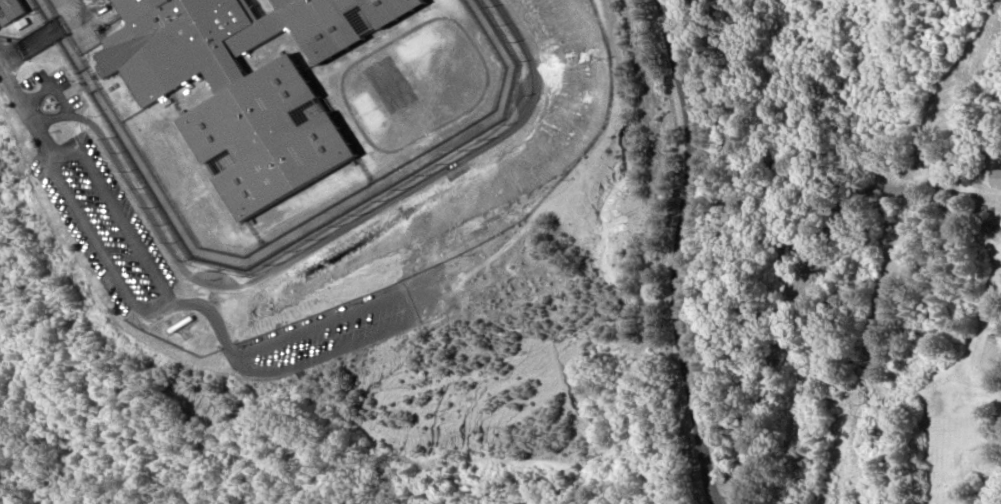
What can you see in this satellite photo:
building: (18, 8)
building: (248, 83)
road: (63, 99)
road: (28, 101)
building: (997, 177)
road: (321, 238)
road: (691, 251)
road: (167, 299)
road: (822, 306)

